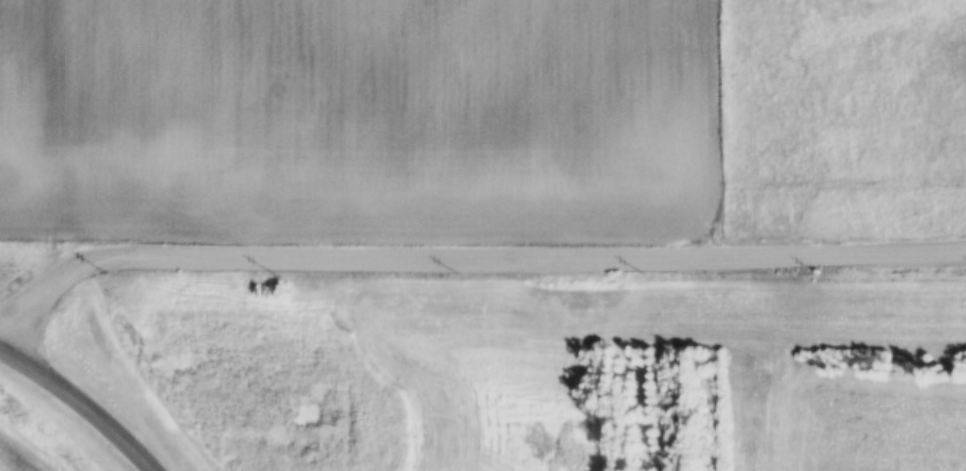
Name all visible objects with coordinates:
road: (54, 181)
road: (86, 400)

